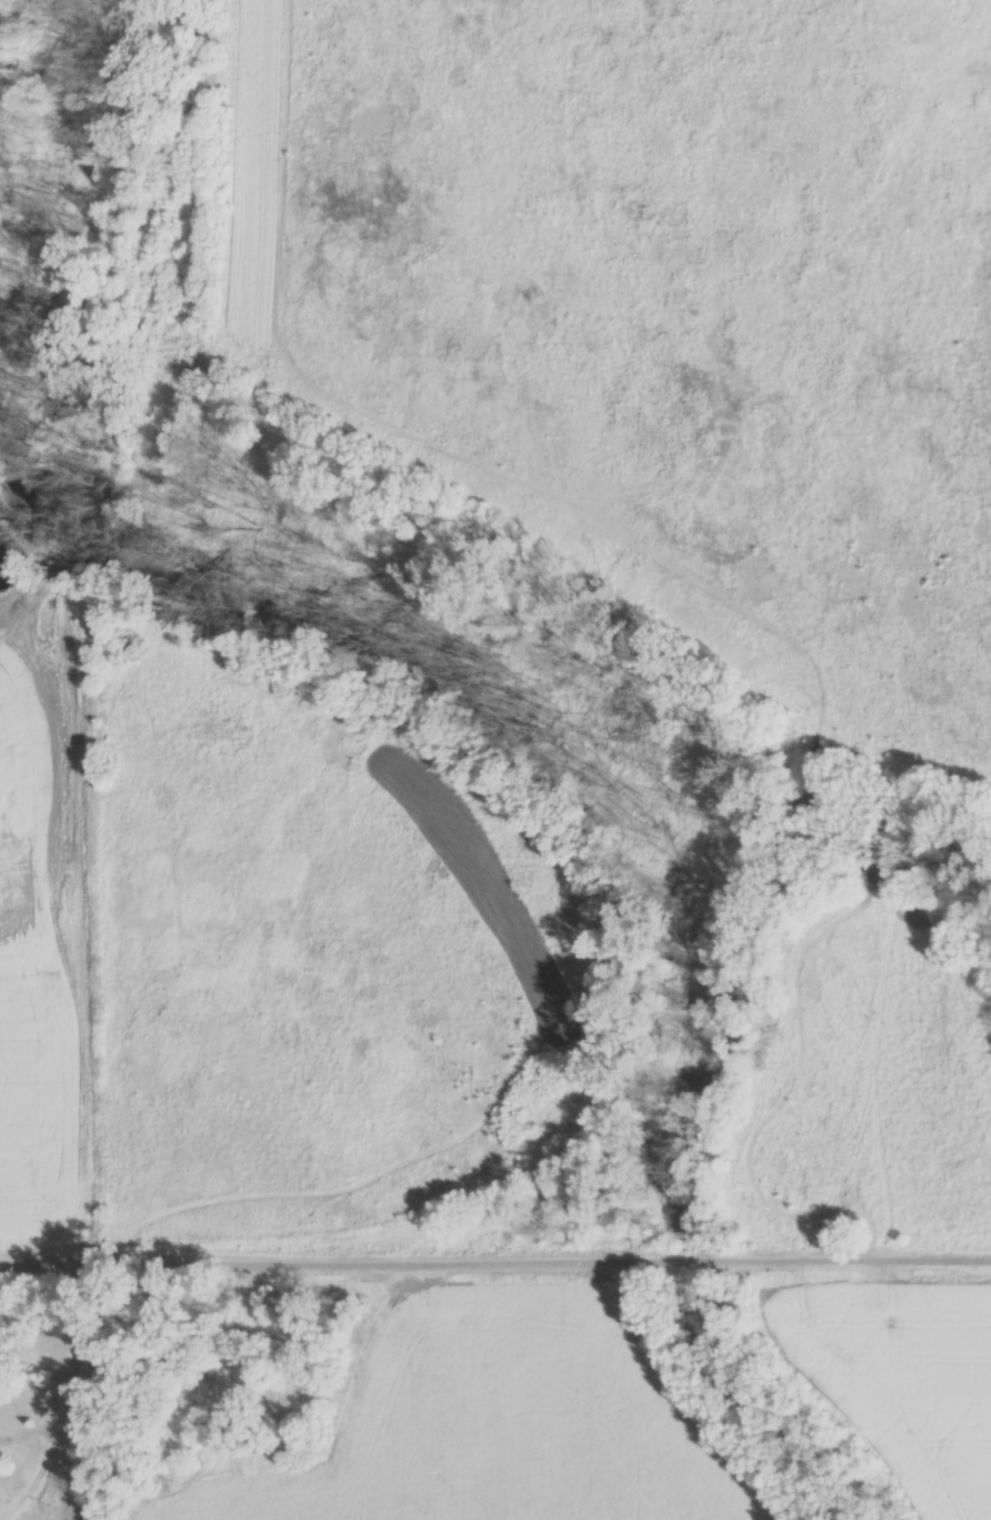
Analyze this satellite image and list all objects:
road: (495, 1266)

